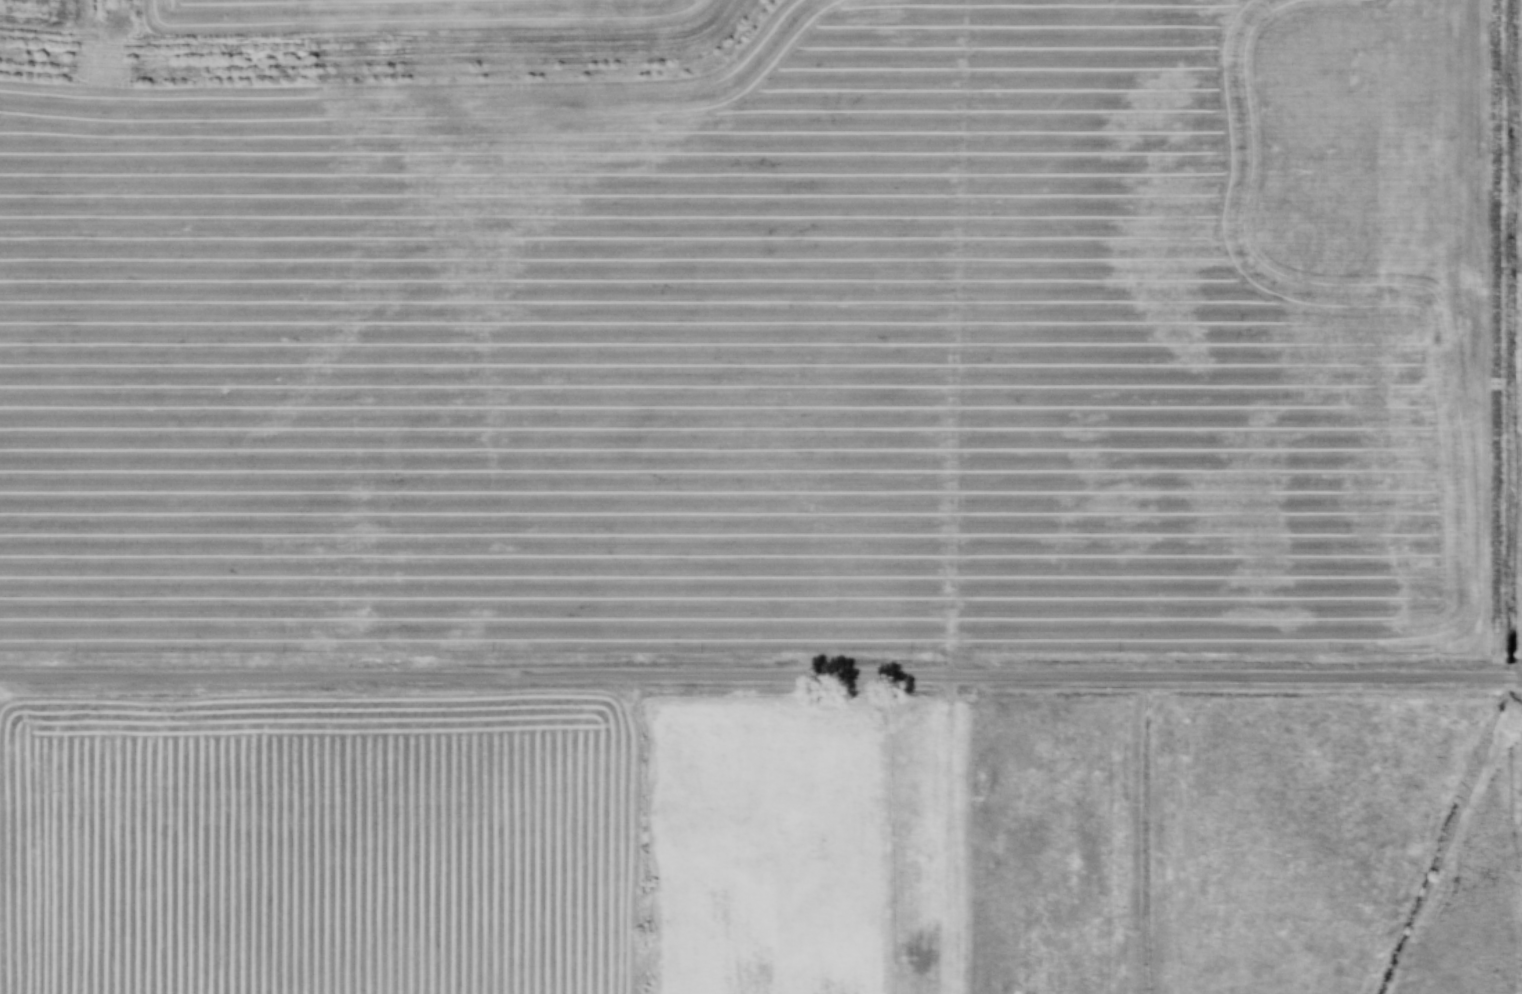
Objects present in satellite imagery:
road: (761, 676)

